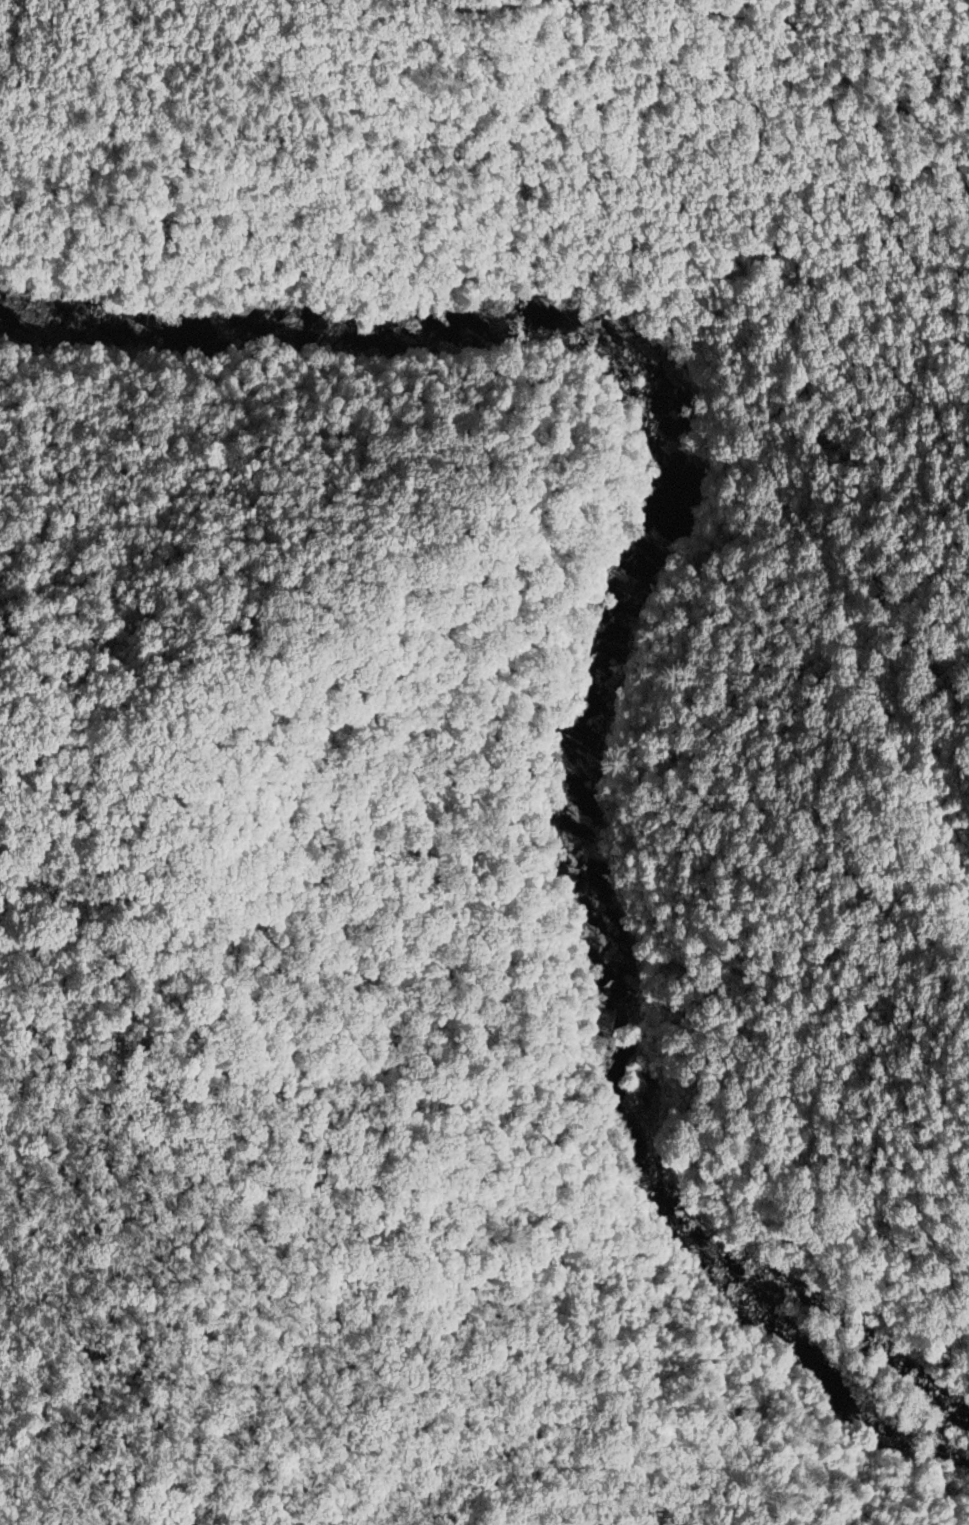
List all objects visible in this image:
road: (482, 6)
road: (839, 74)
river: (617, 647)

